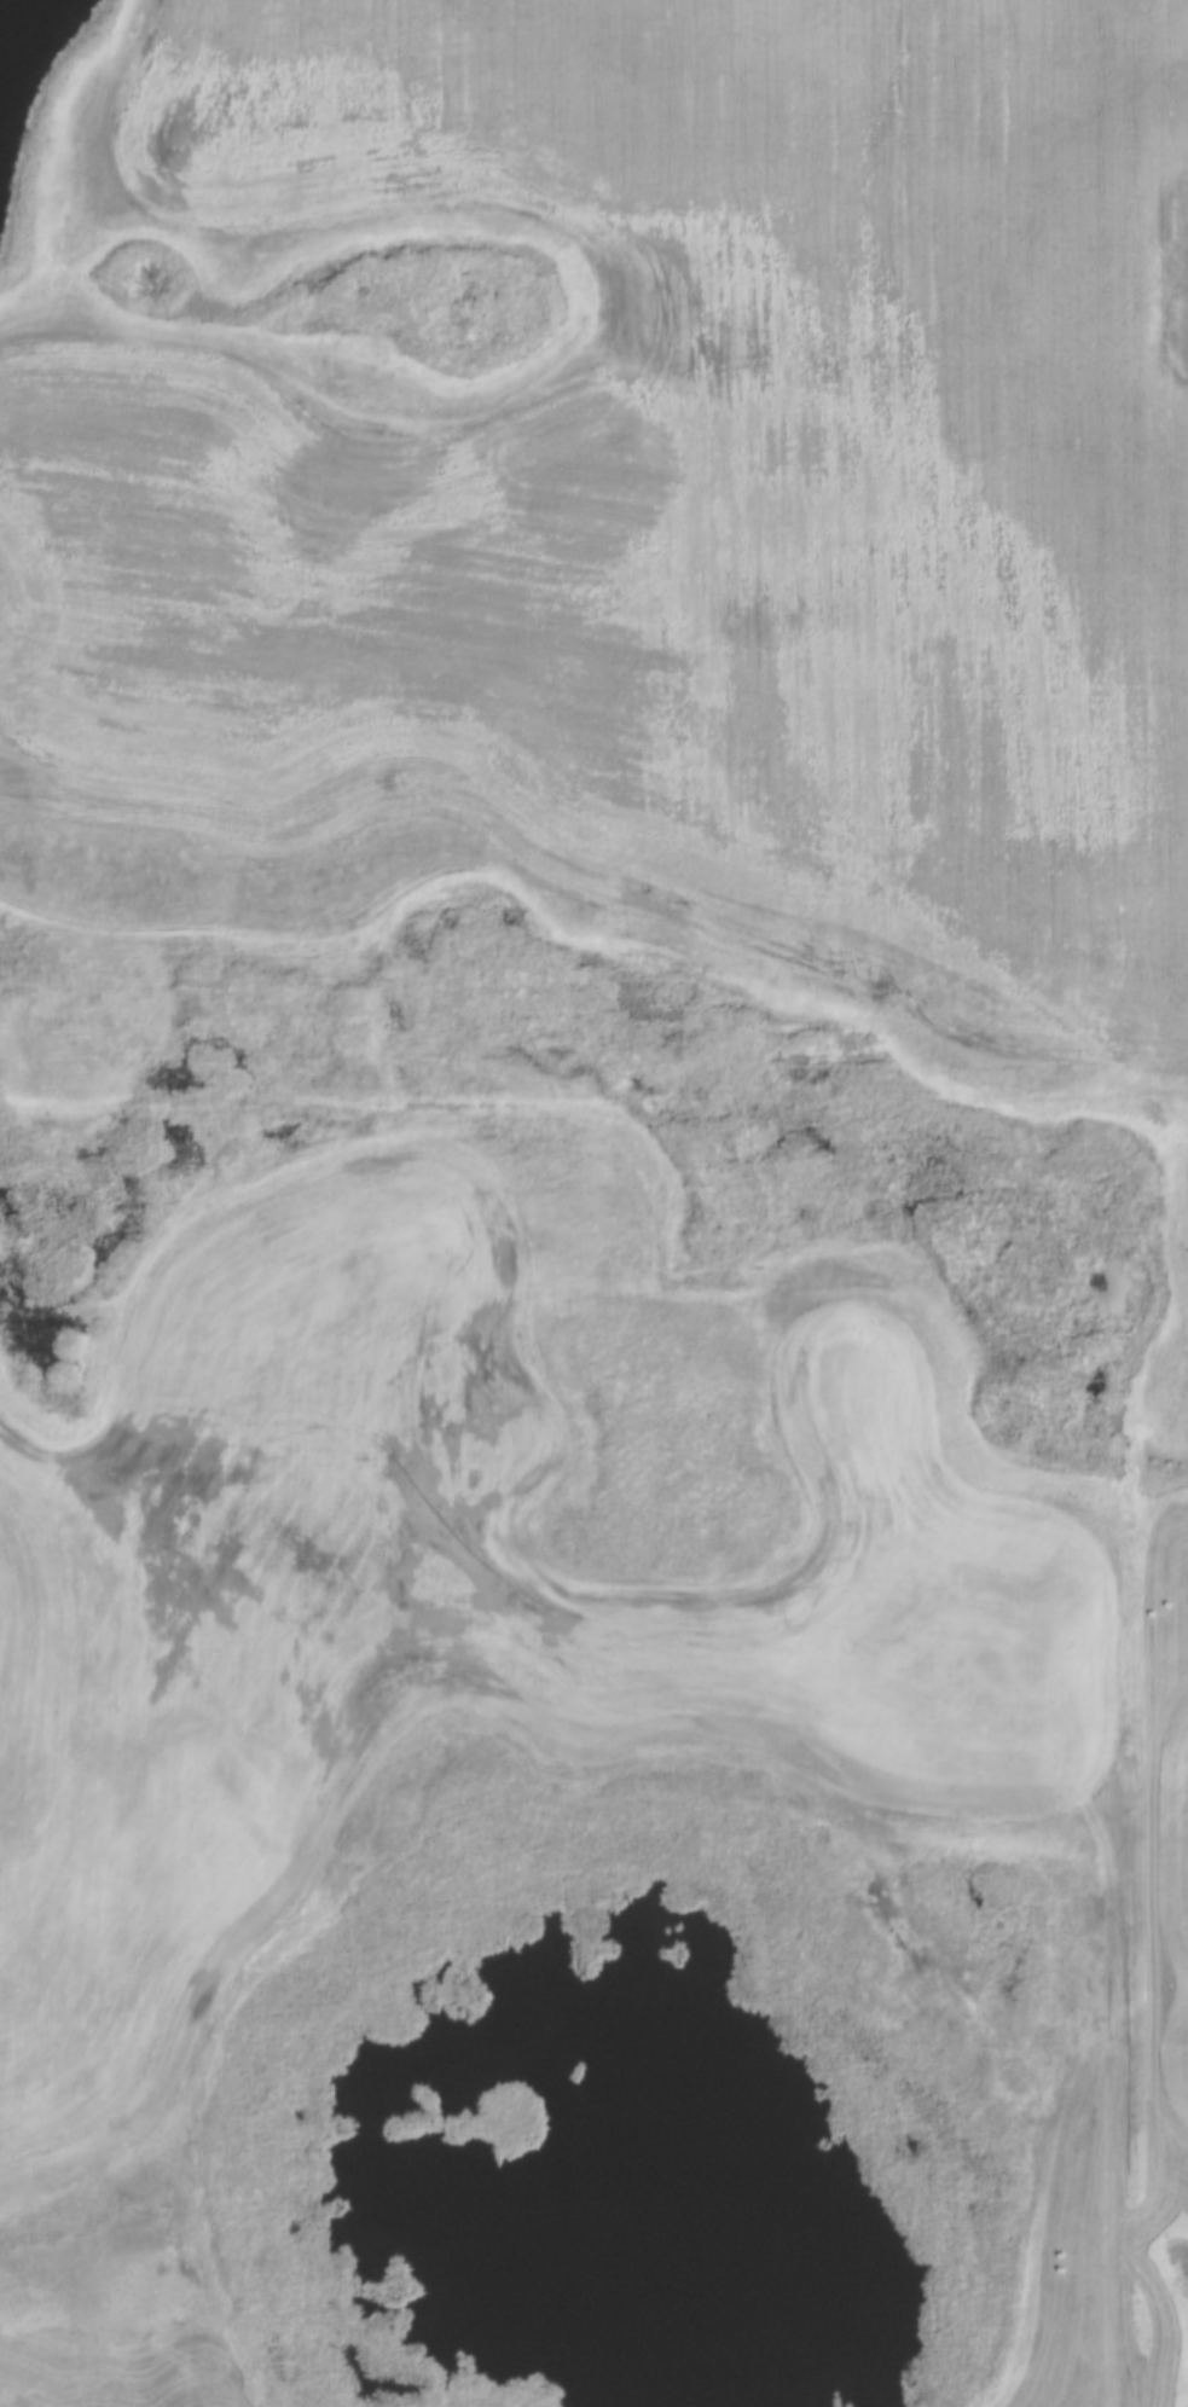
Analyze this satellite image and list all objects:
road: (1102, 2131)

